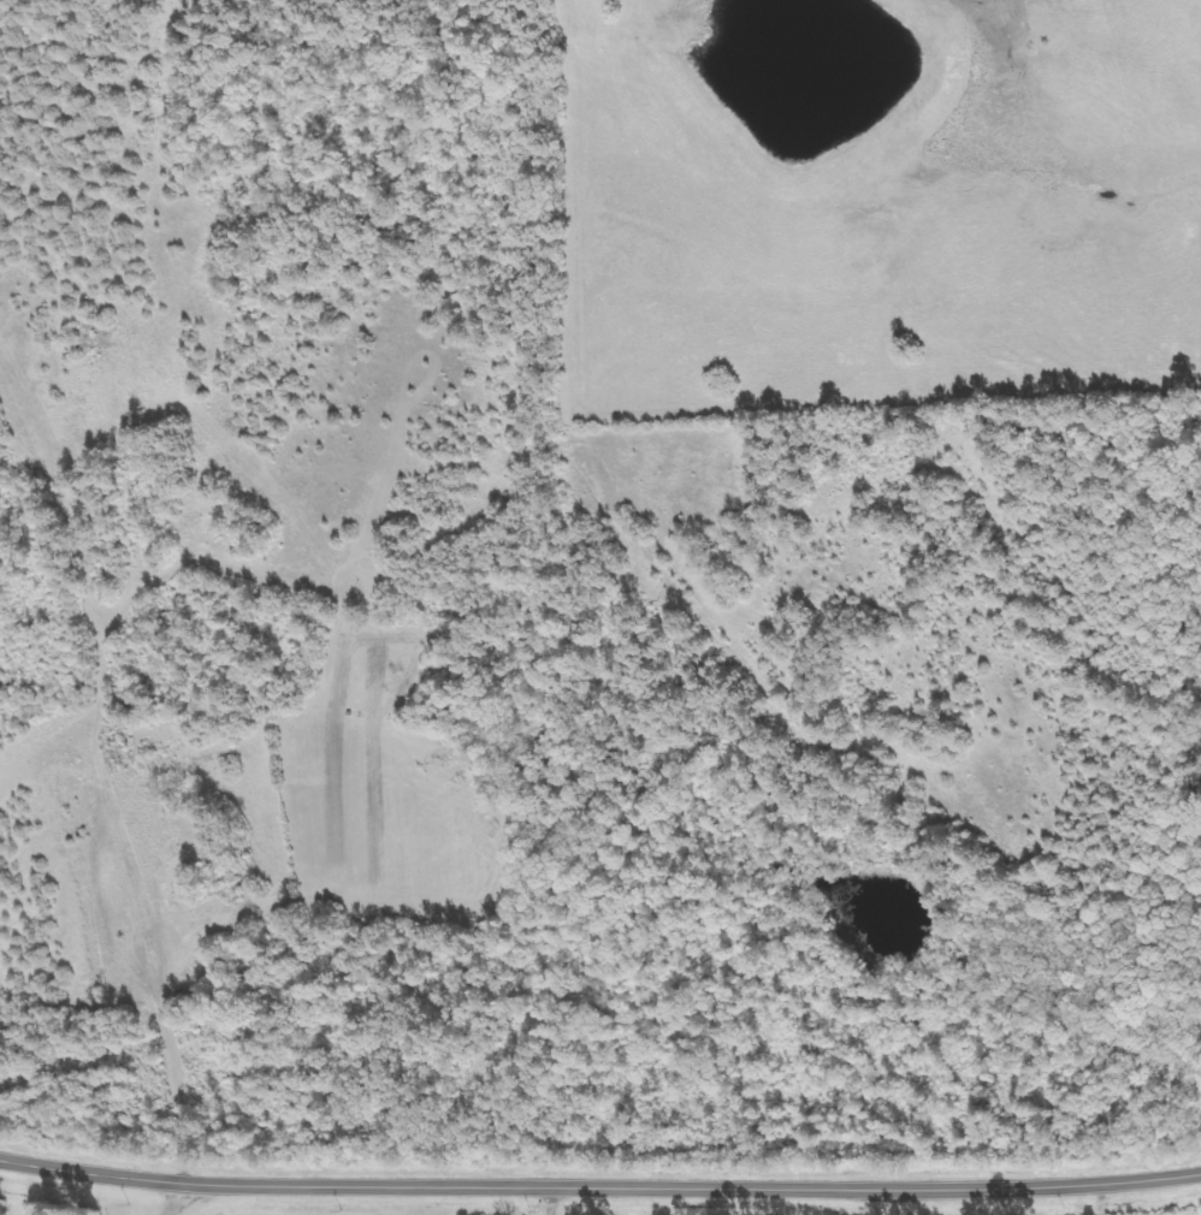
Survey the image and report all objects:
road: (599, 1189)
road: (182, 1199)
road: (554, 1201)

